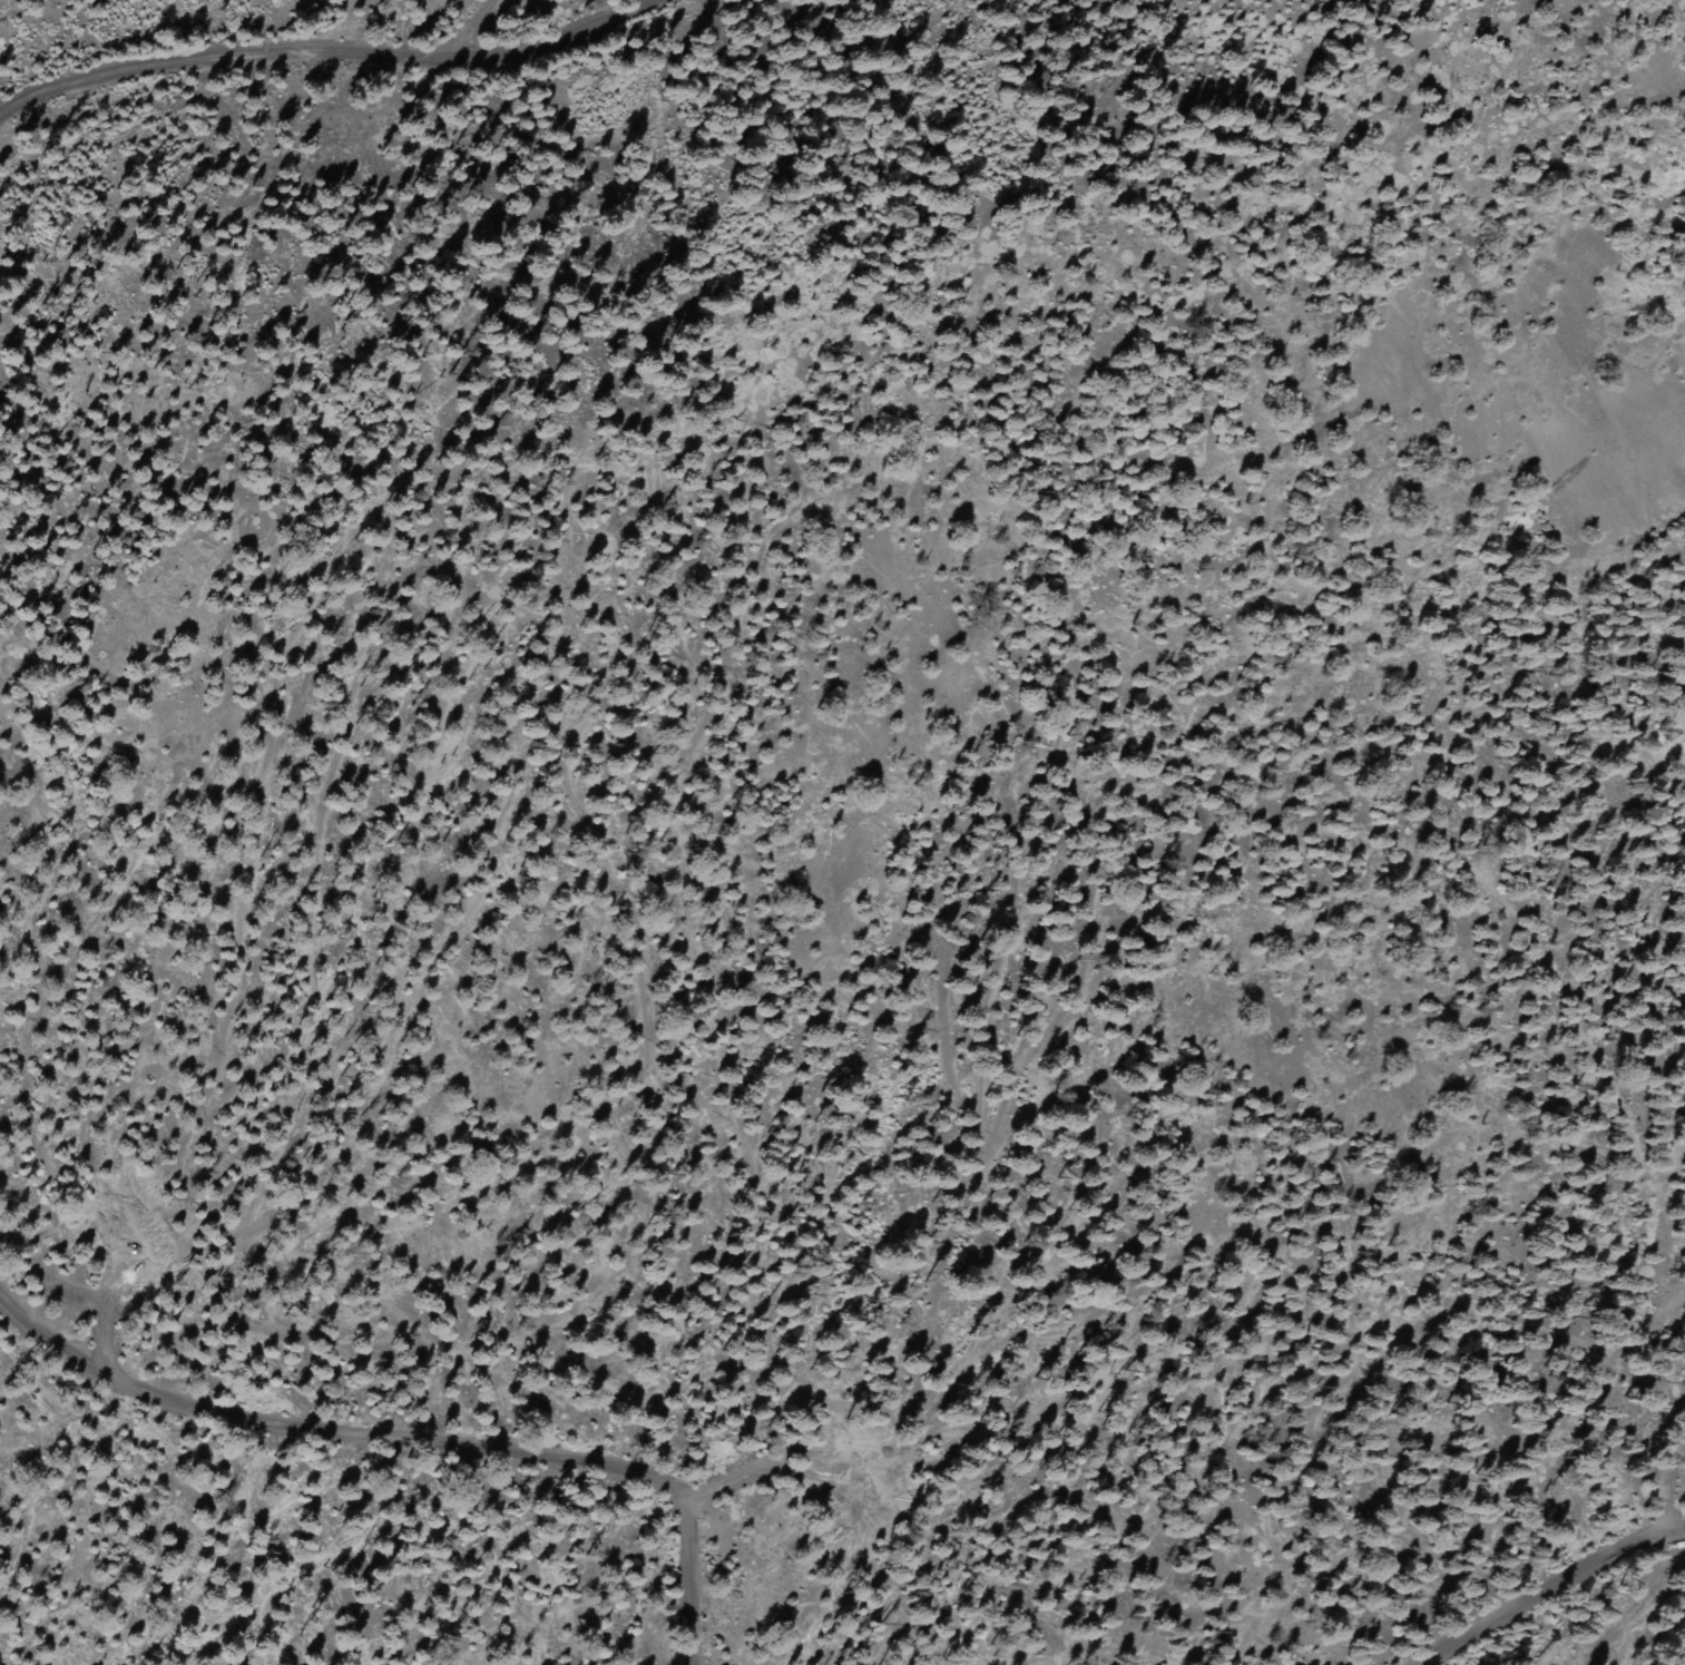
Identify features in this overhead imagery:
road: (462, 28)
road: (332, 51)
road: (409, 1441)
road: (1549, 1588)

